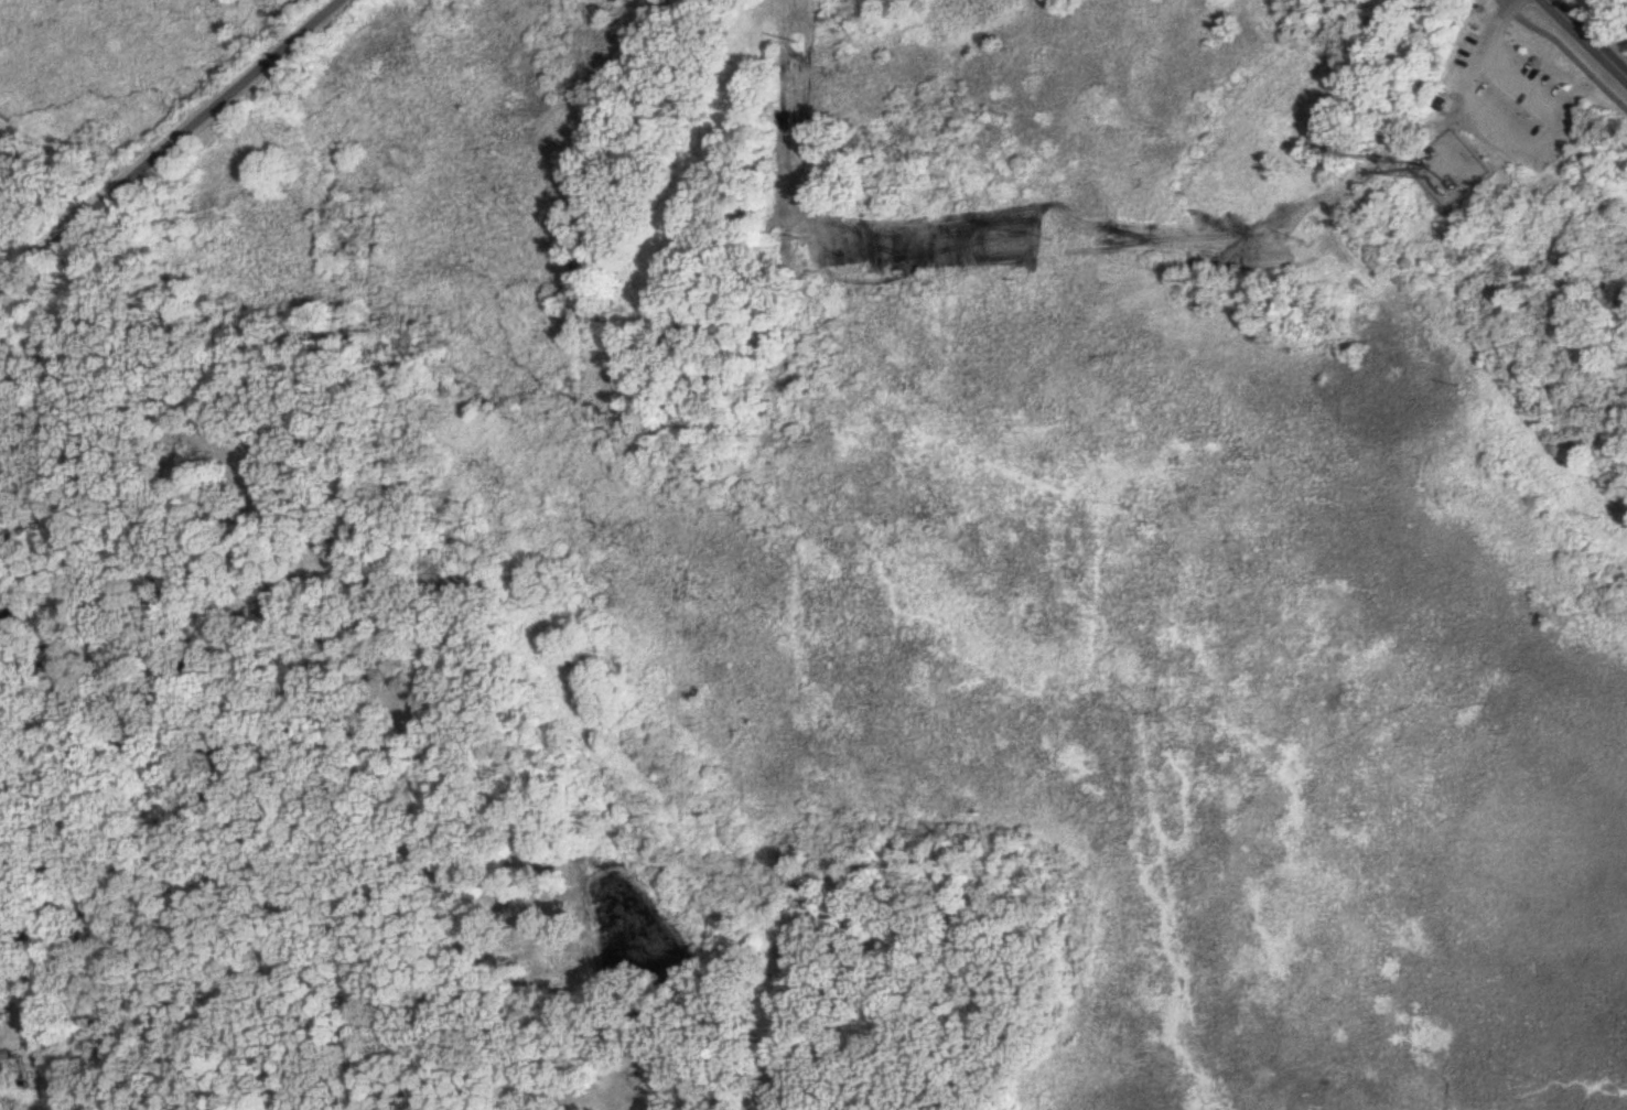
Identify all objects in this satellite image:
road: (1587, 39)
road: (1565, 52)
road: (1474, 64)
parking lot: (1508, 99)
park: (1494, 127)
road: (1549, 133)
road: (170, 143)

